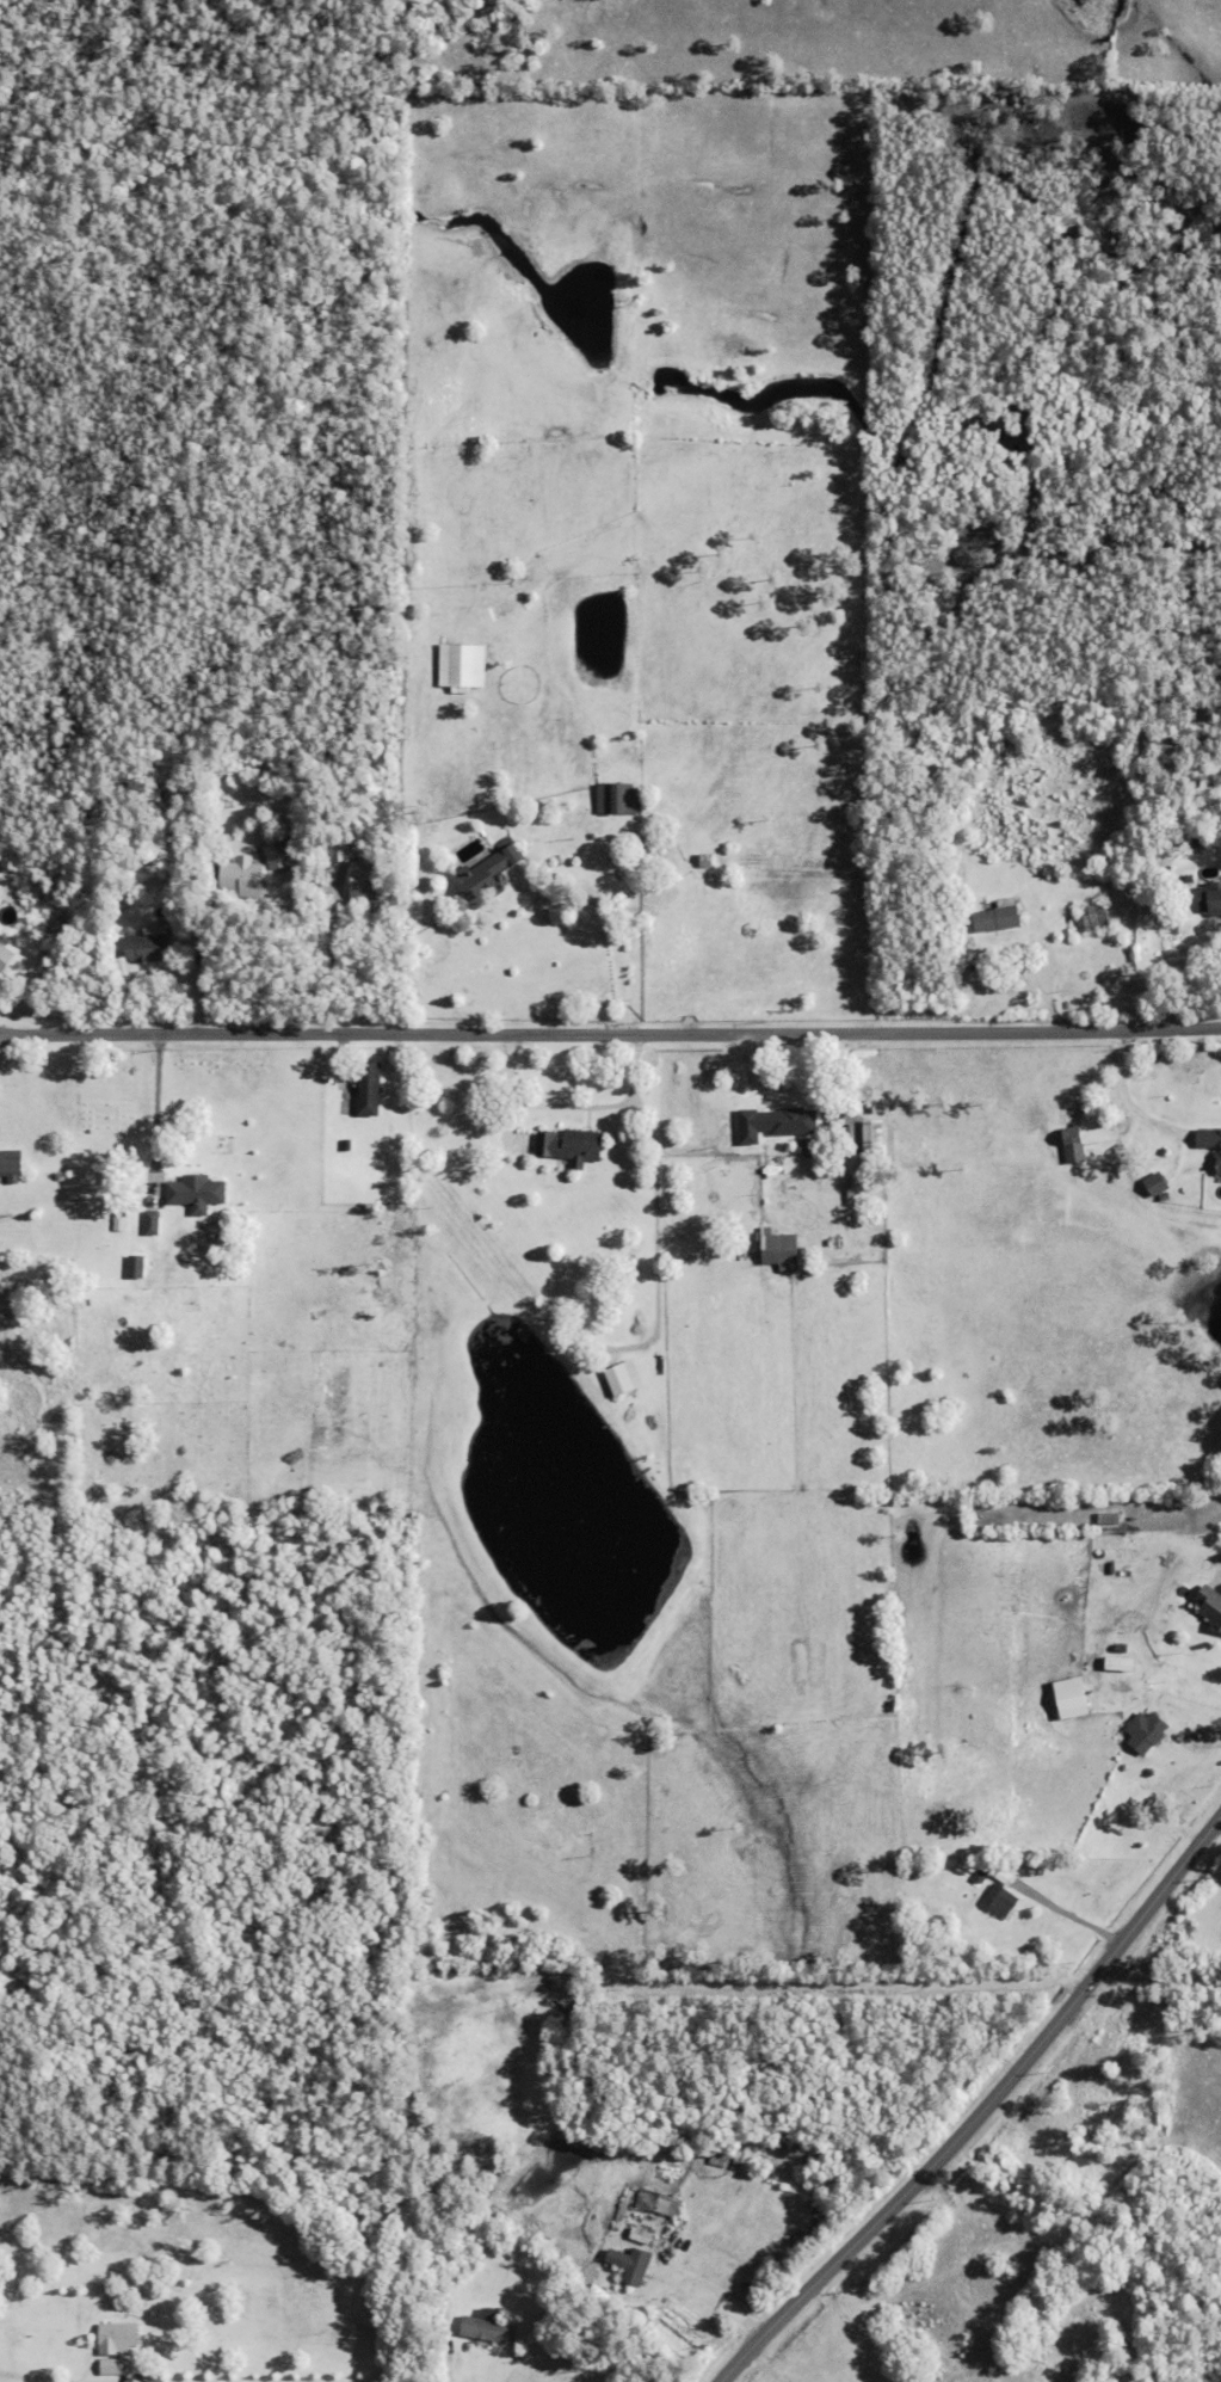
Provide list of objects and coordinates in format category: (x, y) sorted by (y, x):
building: (462, 666)
building: (618, 799)
building: (1196, 843)
building: (339, 850)
building: (278, 855)
building: (707, 860)
building: (486, 876)
building: (242, 878)
building: (1190, 879)
building: (363, 881)
building: (1214, 899)
building: (998, 917)
building: (1093, 918)
building: (149, 948)
building: (2, 965)
road: (610, 1034)
building: (369, 1090)
road: (150, 1100)
building: (872, 1110)
building: (800, 1127)
building: (872, 1137)
building: (1210, 1144)
building: (574, 1147)
building: (1073, 1147)
building: (10, 1167)
building: (1155, 1184)
building: (196, 1193)
building: (4, 1195)
building: (119, 1219)
building: (152, 1223)
building: (779, 1251)
building: (136, 1268)
building: (633, 1268)
building: (623, 1269)
building: (623, 1379)
building: (646, 1427)
building: (1109, 1520)
road: (1215, 1574)
building: (1192, 1586)
building: (1210, 1608)
building: (1122, 1650)
building: (1072, 1700)
building: (1146, 1734)
building: (980, 1879)
building: (1000, 1903)
road: (983, 2111)
building: (724, 2160)
building: (648, 2198)
building: (672, 2210)
building: (645, 2235)
building: (635, 2264)
building: (491, 2309)
building: (486, 2326)
building: (1040, 2326)
building: (112, 2340)
building: (932, 2349)
building: (72, 2365)
road: (479, 2368)
road: (765, 2368)
building: (26, 2376)
road: (308, 2381)

